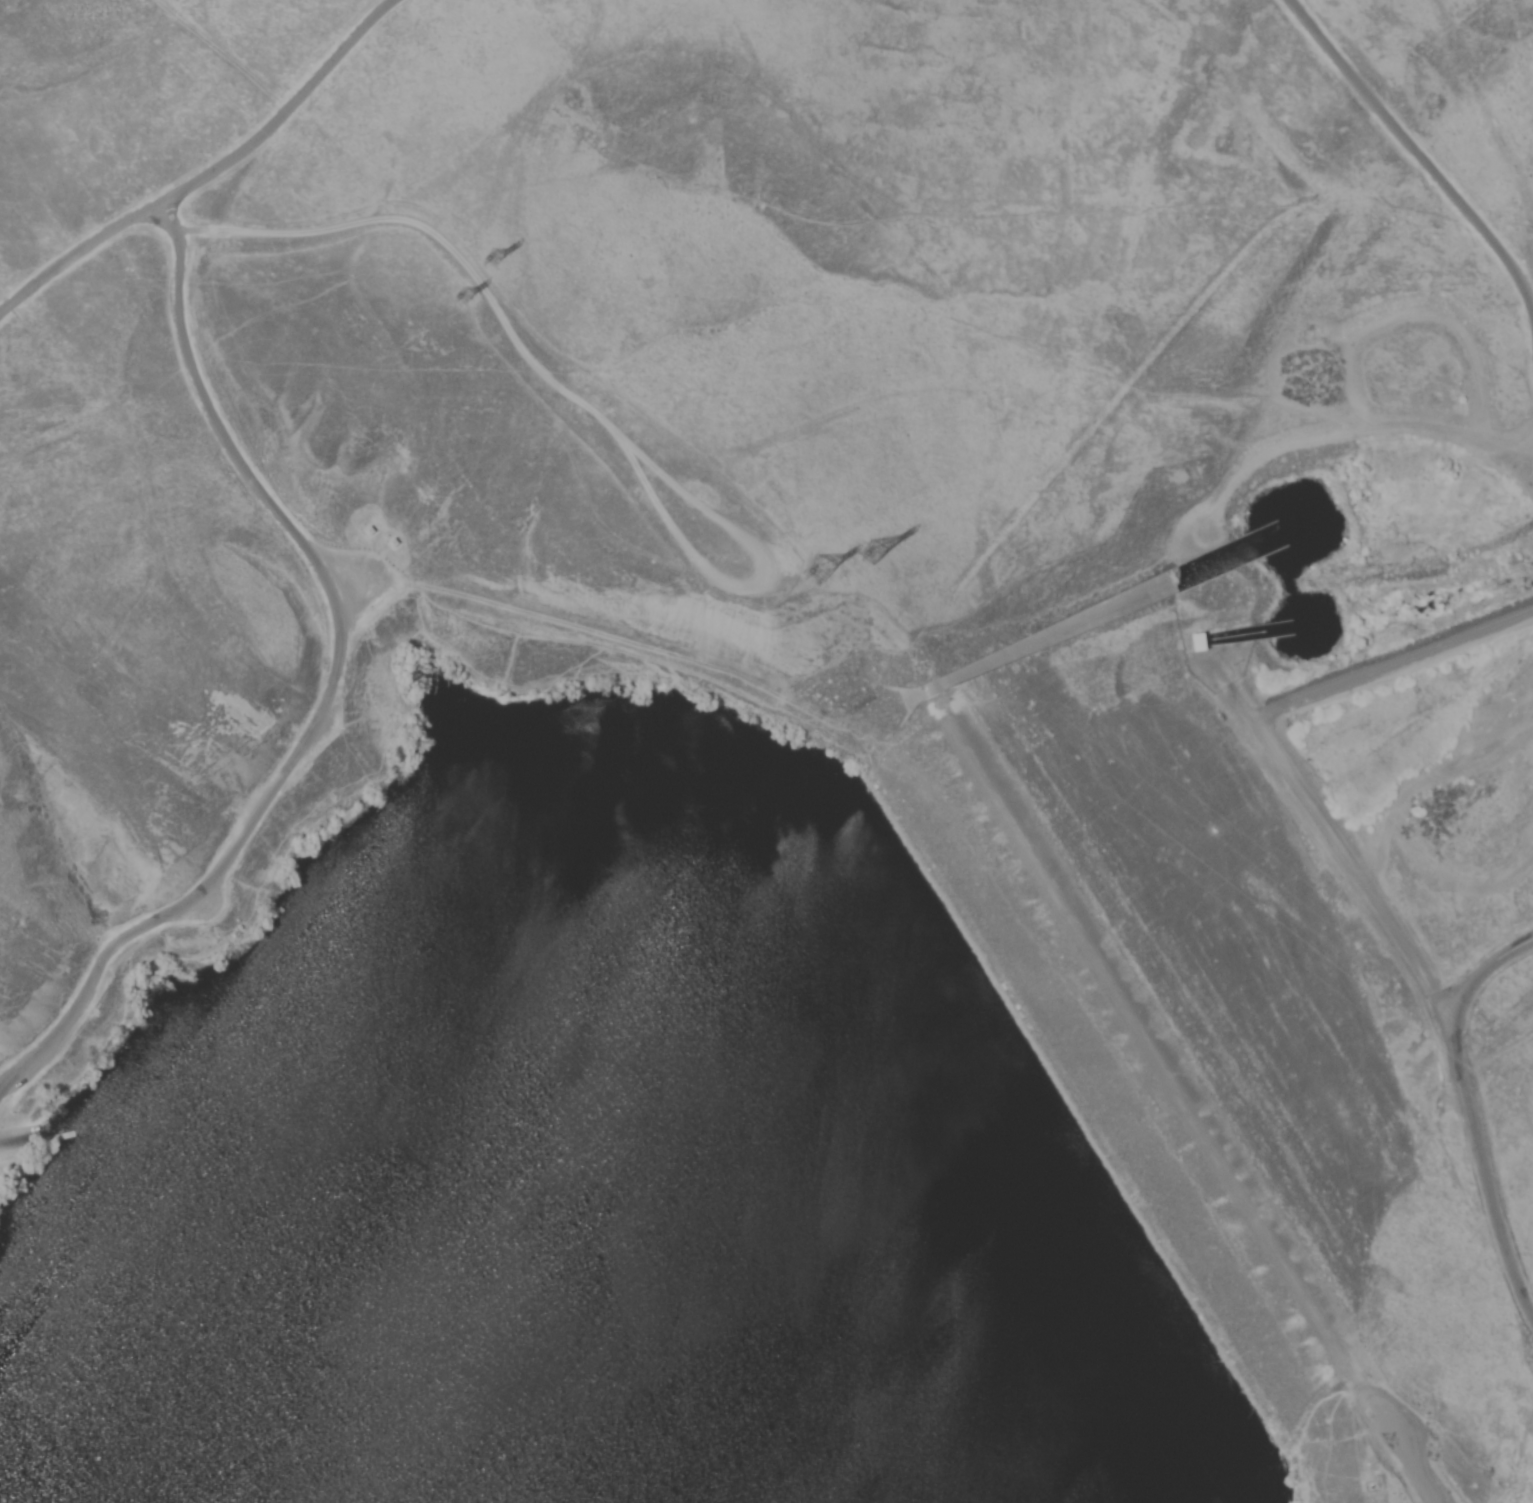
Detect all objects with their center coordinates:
road: (1413, 145)
road: (212, 173)
power tower: (492, 257)
power tower: (458, 299)
road: (546, 370)
power tower: (866, 549)
power tower: (817, 567)
road: (336, 689)
park: (766, 751)
road: (1331, 839)
road: (1496, 962)
road: (1169, 1051)
dam: (1141, 1074)
pier: (77, 1140)
road: (1478, 1156)
road: (132, 1290)
road: (1411, 1450)

